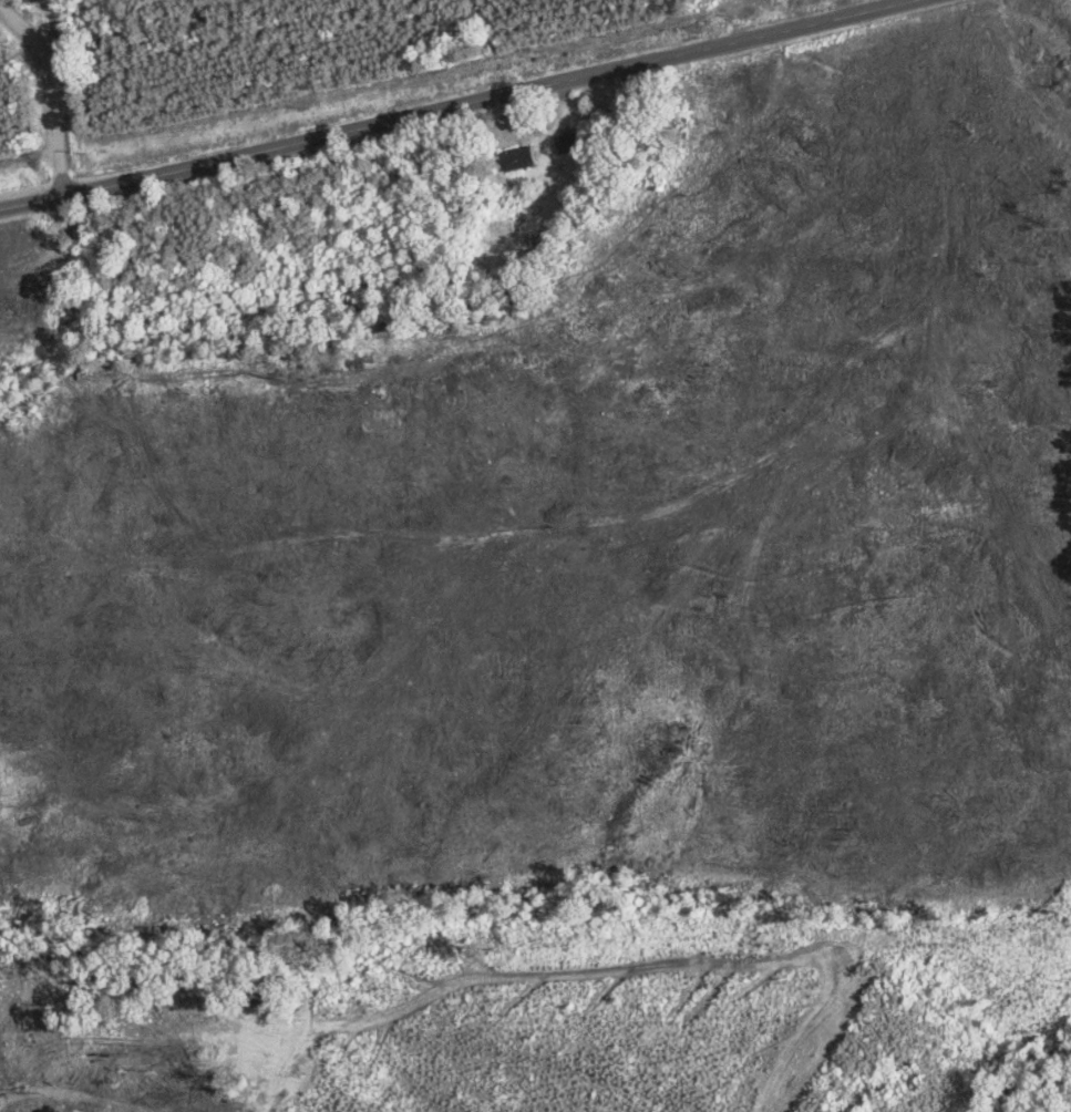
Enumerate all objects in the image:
road: (81, 80)
road: (464, 103)
building: (565, 142)
building: (513, 158)

